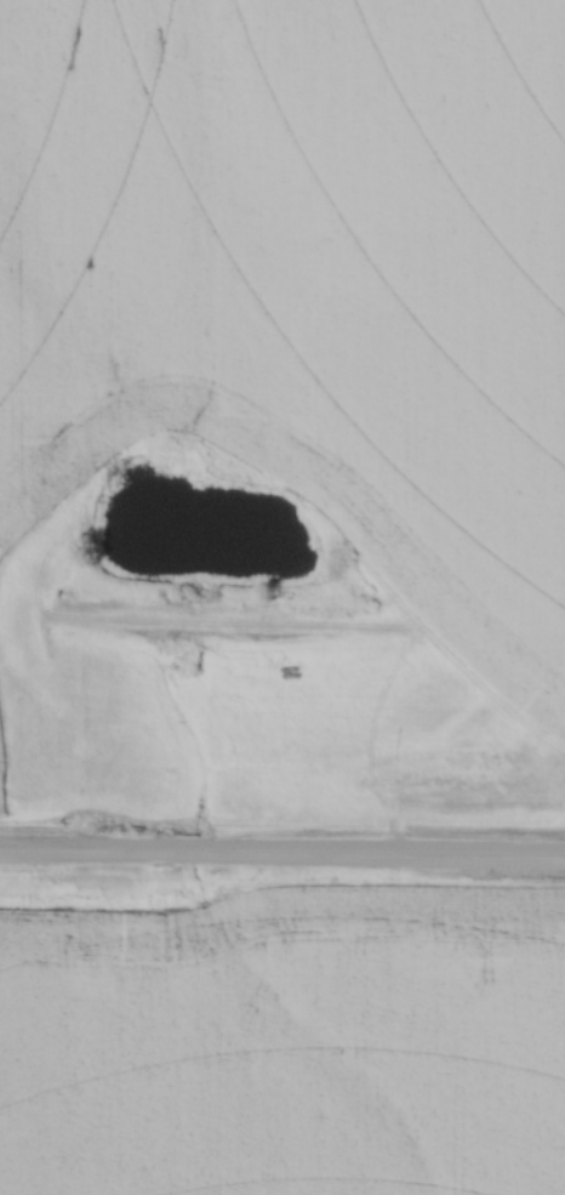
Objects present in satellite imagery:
road: (281, 852)

